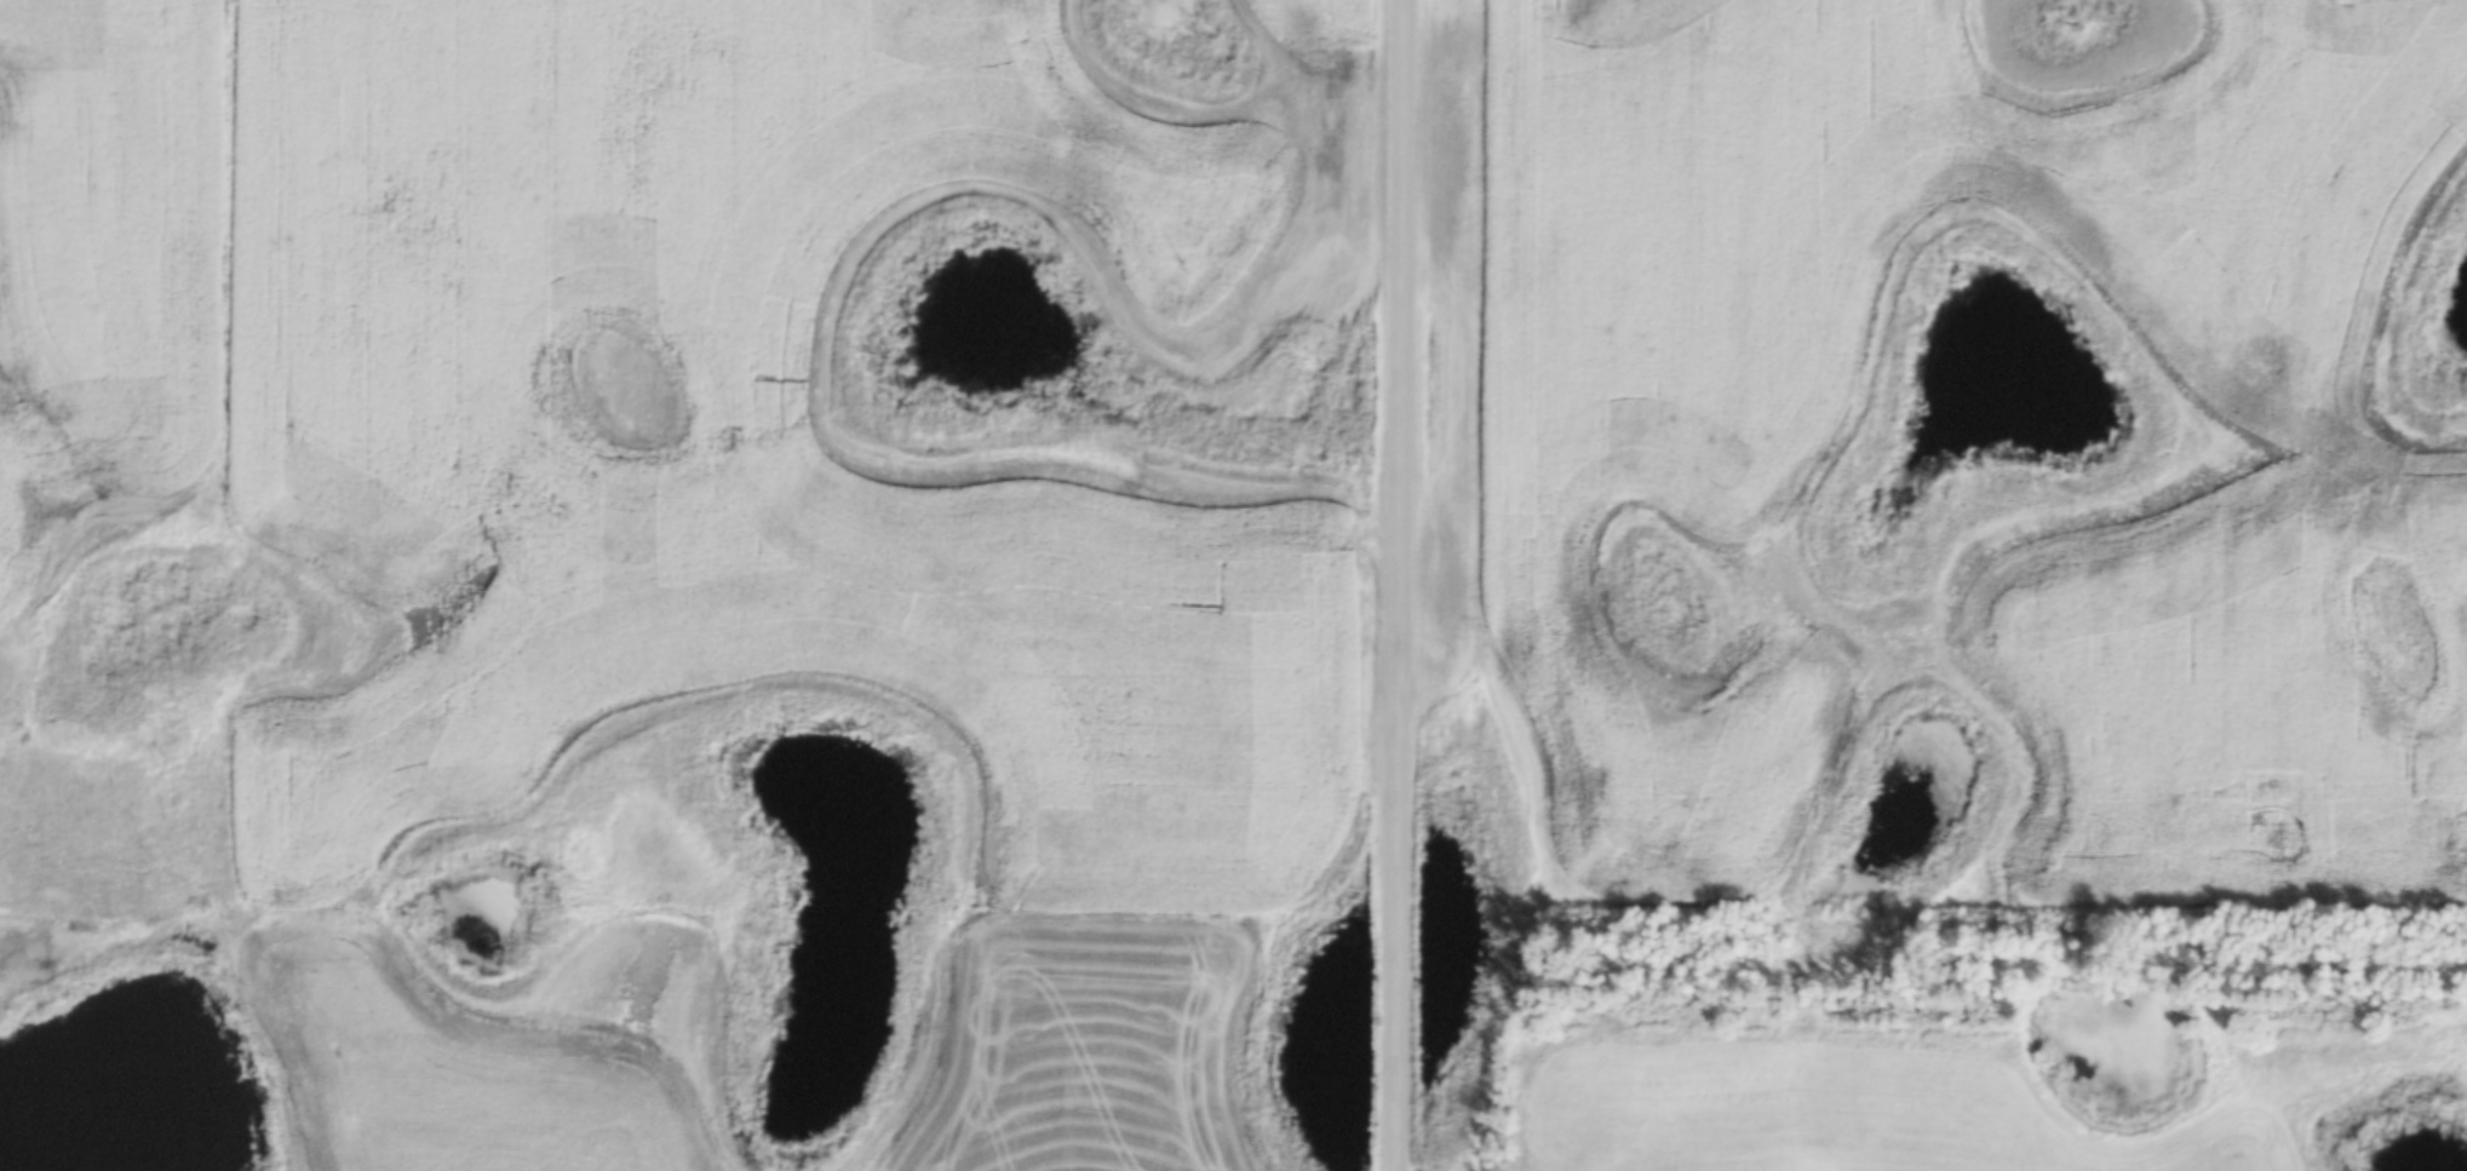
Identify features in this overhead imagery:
road: (1405, 585)

